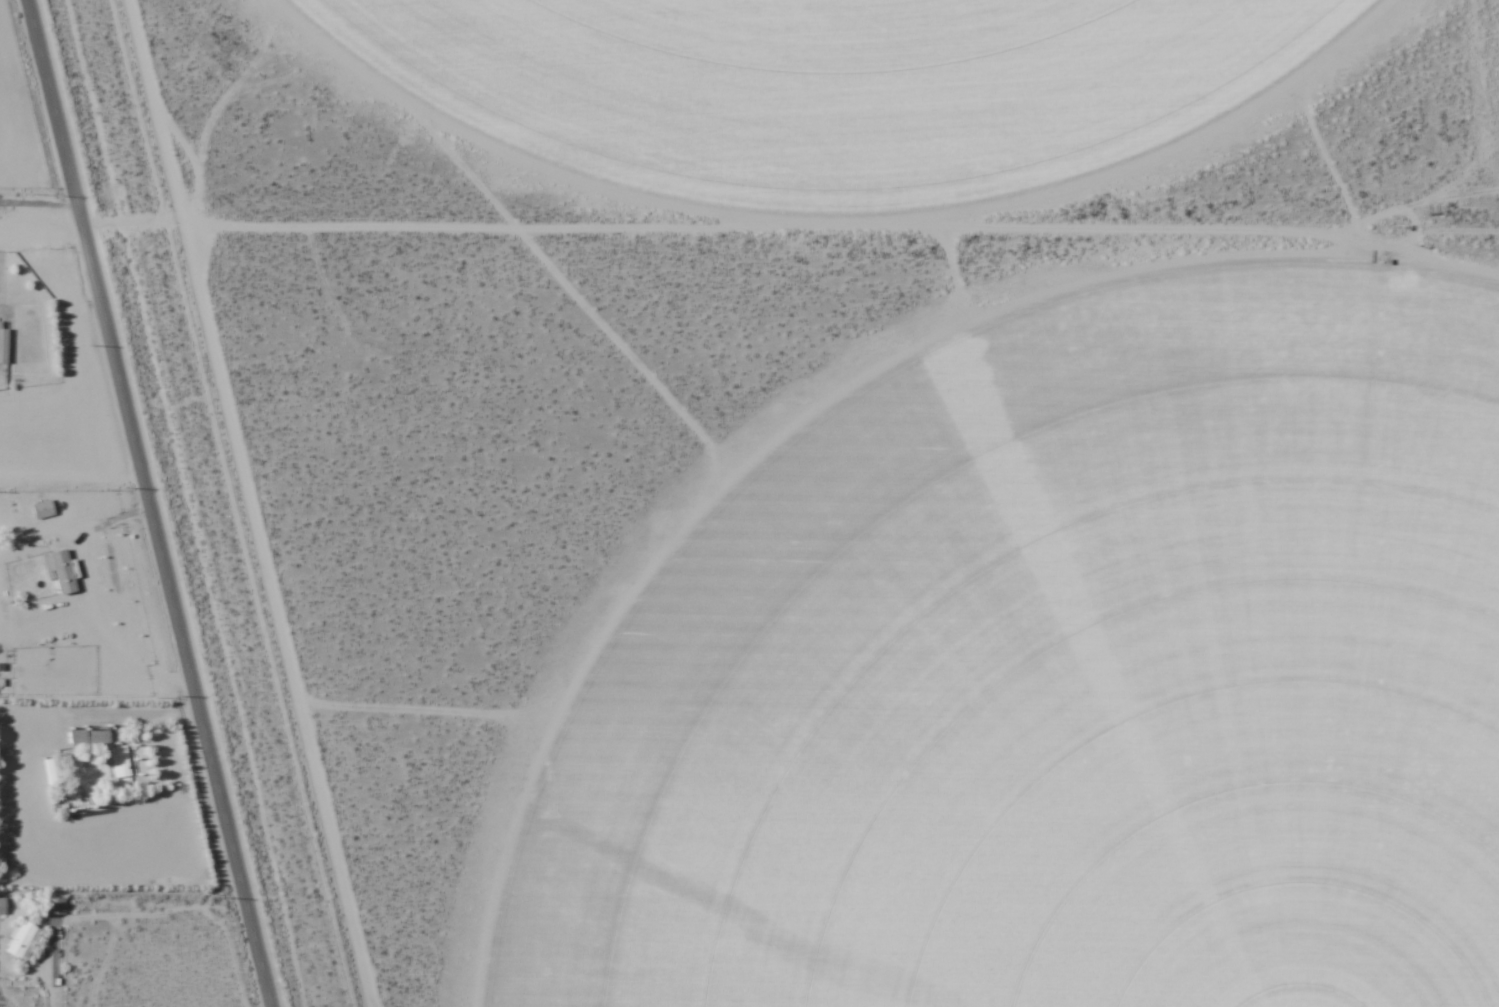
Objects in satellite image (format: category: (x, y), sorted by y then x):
crop: (817, 86)
road: (42, 233)
building: (4, 342)
road: (150, 503)
building: (42, 510)
building: (60, 571)
crop: (1053, 673)
building: (89, 737)
building: (121, 762)
building: (51, 771)
building: (55, 905)
building: (2, 906)
building: (22, 940)

